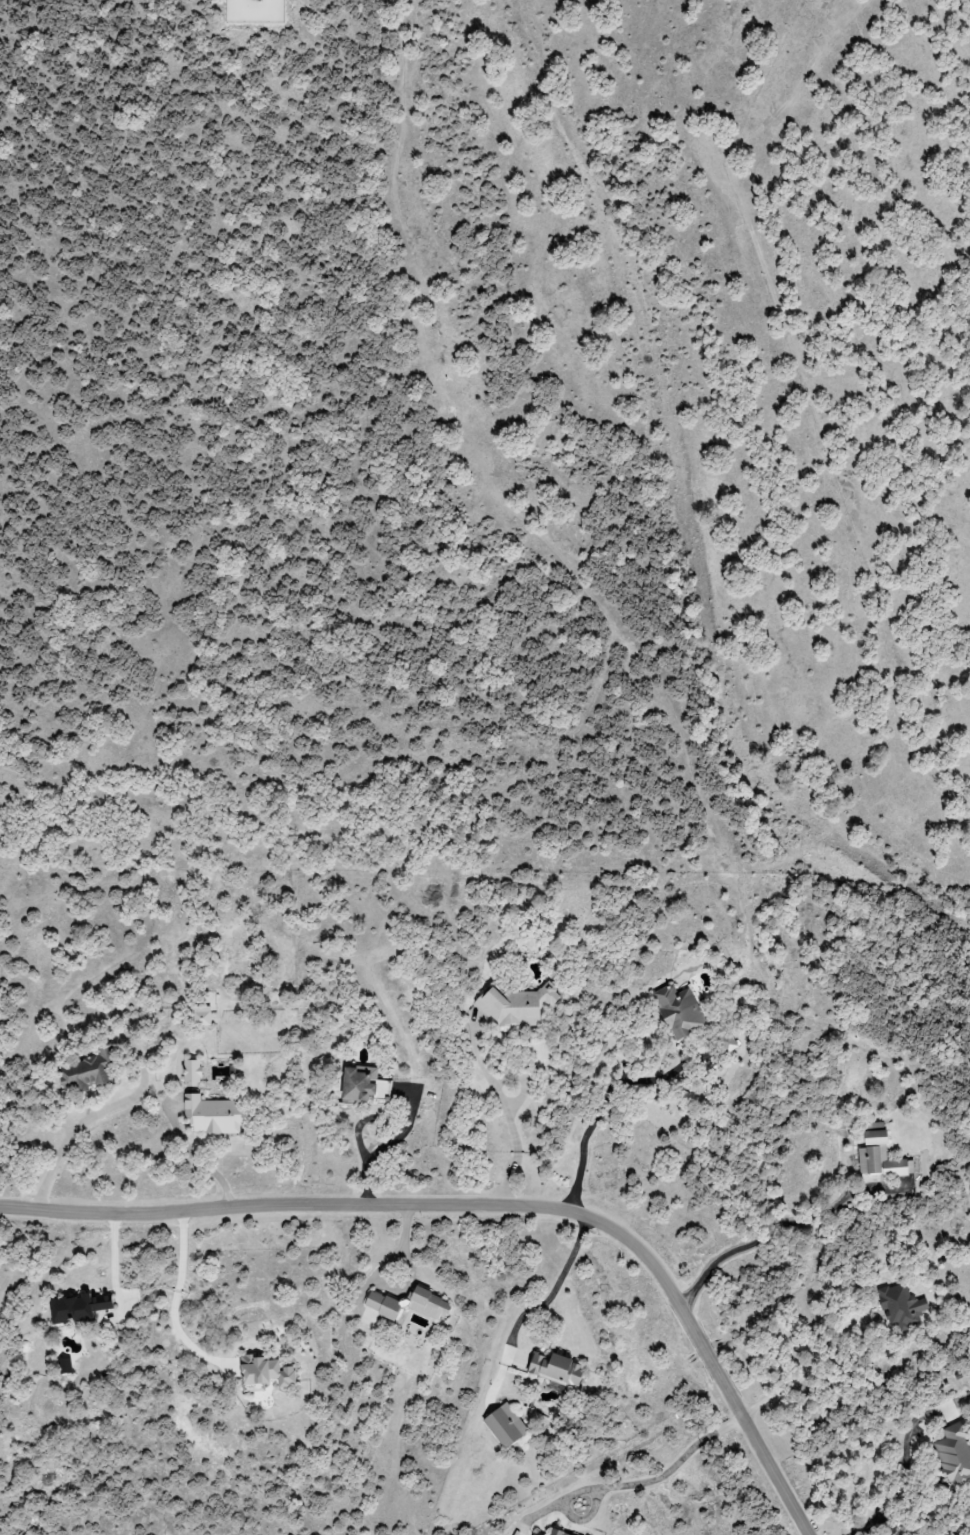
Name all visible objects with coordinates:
building: (255, 11)
building: (517, 1005)
building: (680, 1011)
building: (202, 1015)
building: (728, 1042)
building: (88, 1071)
building: (192, 1073)
building: (363, 1085)
road: (602, 1108)
road: (505, 1114)
building: (213, 1115)
building: (875, 1133)
road: (377, 1148)
road: (57, 1159)
road: (198, 1163)
building: (883, 1163)
road: (489, 1209)
road: (758, 1240)
road: (113, 1261)
road: (555, 1285)
road: (176, 1296)
building: (408, 1304)
building: (901, 1305)
building: (79, 1307)
building: (65, 1365)
building: (556, 1369)
building: (266, 1371)
road: (802, 1372)
building: (505, 1425)
building: (955, 1454)
road: (623, 1485)
road: (873, 1523)
building: (558, 1533)
building: (533, 1534)

